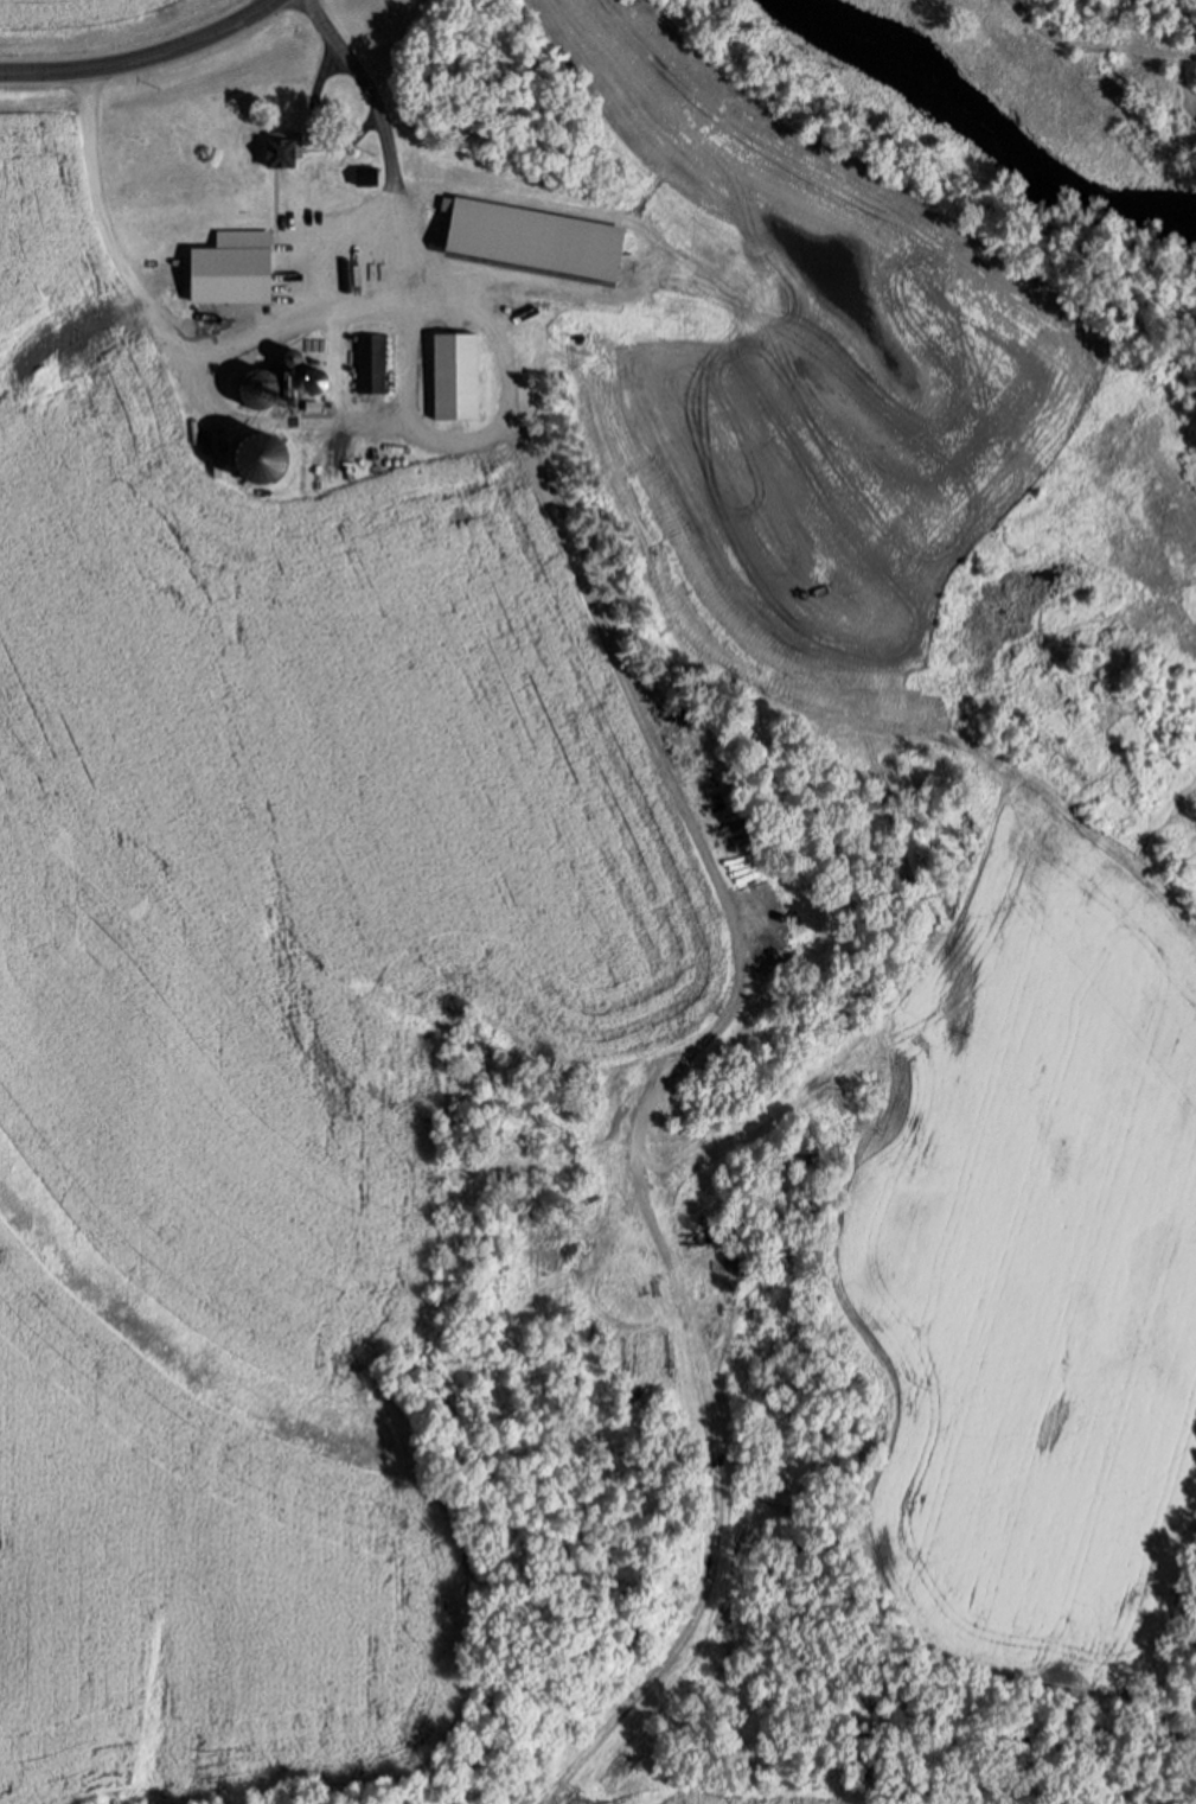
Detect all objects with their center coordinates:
road: (141, 57)
river: (984, 129)
building: (277, 149)
building: (465, 202)
building: (565, 221)
building: (226, 269)
road: (283, 323)
building: (367, 363)
building: (453, 376)
building: (309, 383)
building: (256, 388)

